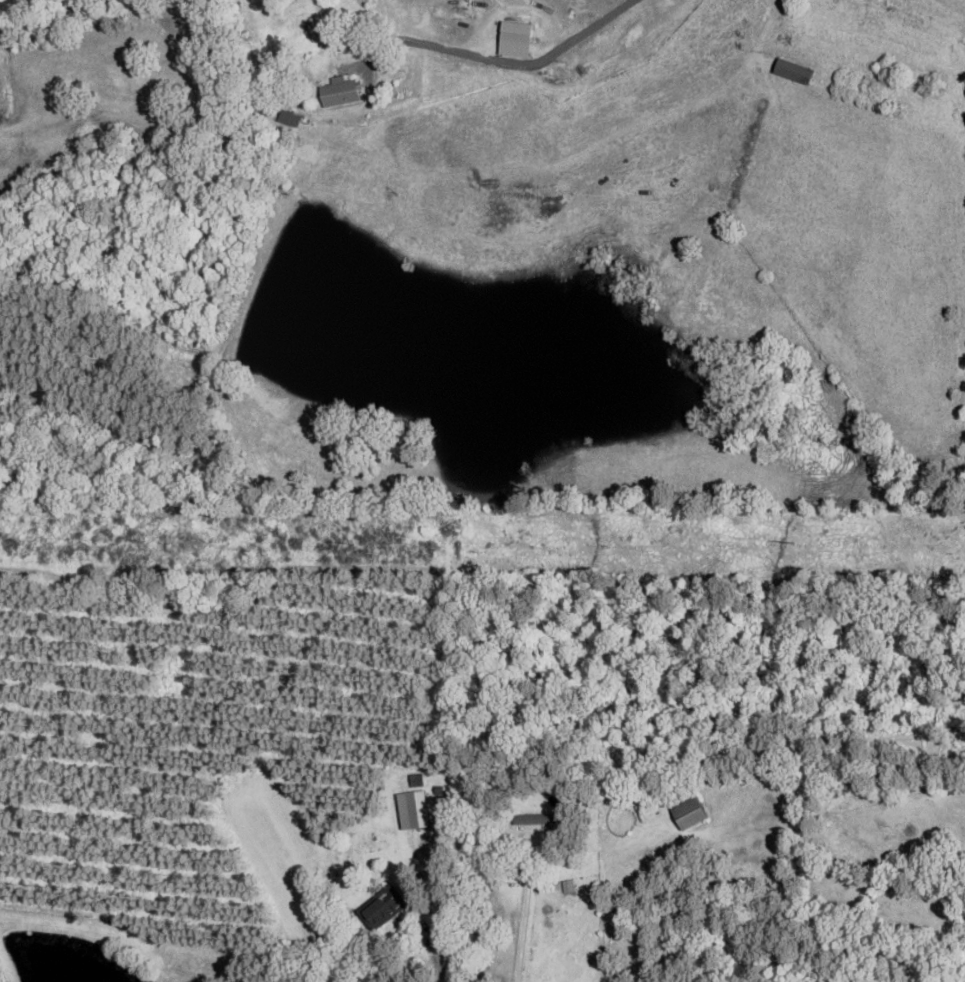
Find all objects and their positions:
building: (794, 72)
building: (339, 93)
building: (289, 119)
road: (251, 770)
building: (415, 799)
building: (689, 813)
building: (537, 819)
building: (382, 908)

